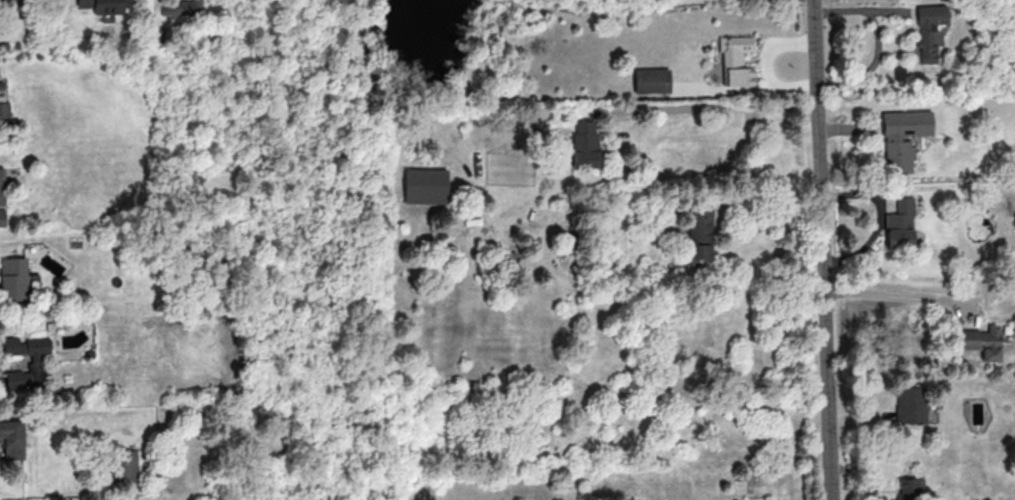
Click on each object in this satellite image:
building: (106, 7)
building: (180, 7)
building: (928, 28)
building: (735, 59)
building: (651, 80)
building: (1, 85)
building: (3, 105)
road: (714, 108)
building: (897, 142)
building: (584, 144)
building: (425, 185)
building: (2, 197)
building: (1014, 212)
road: (771, 213)
road: (880, 217)
building: (900, 224)
building: (699, 233)
road: (823, 249)
building: (13, 281)
road: (906, 297)
building: (981, 341)
building: (35, 362)
building: (910, 404)
building: (12, 439)
building: (125, 467)
building: (911, 488)

